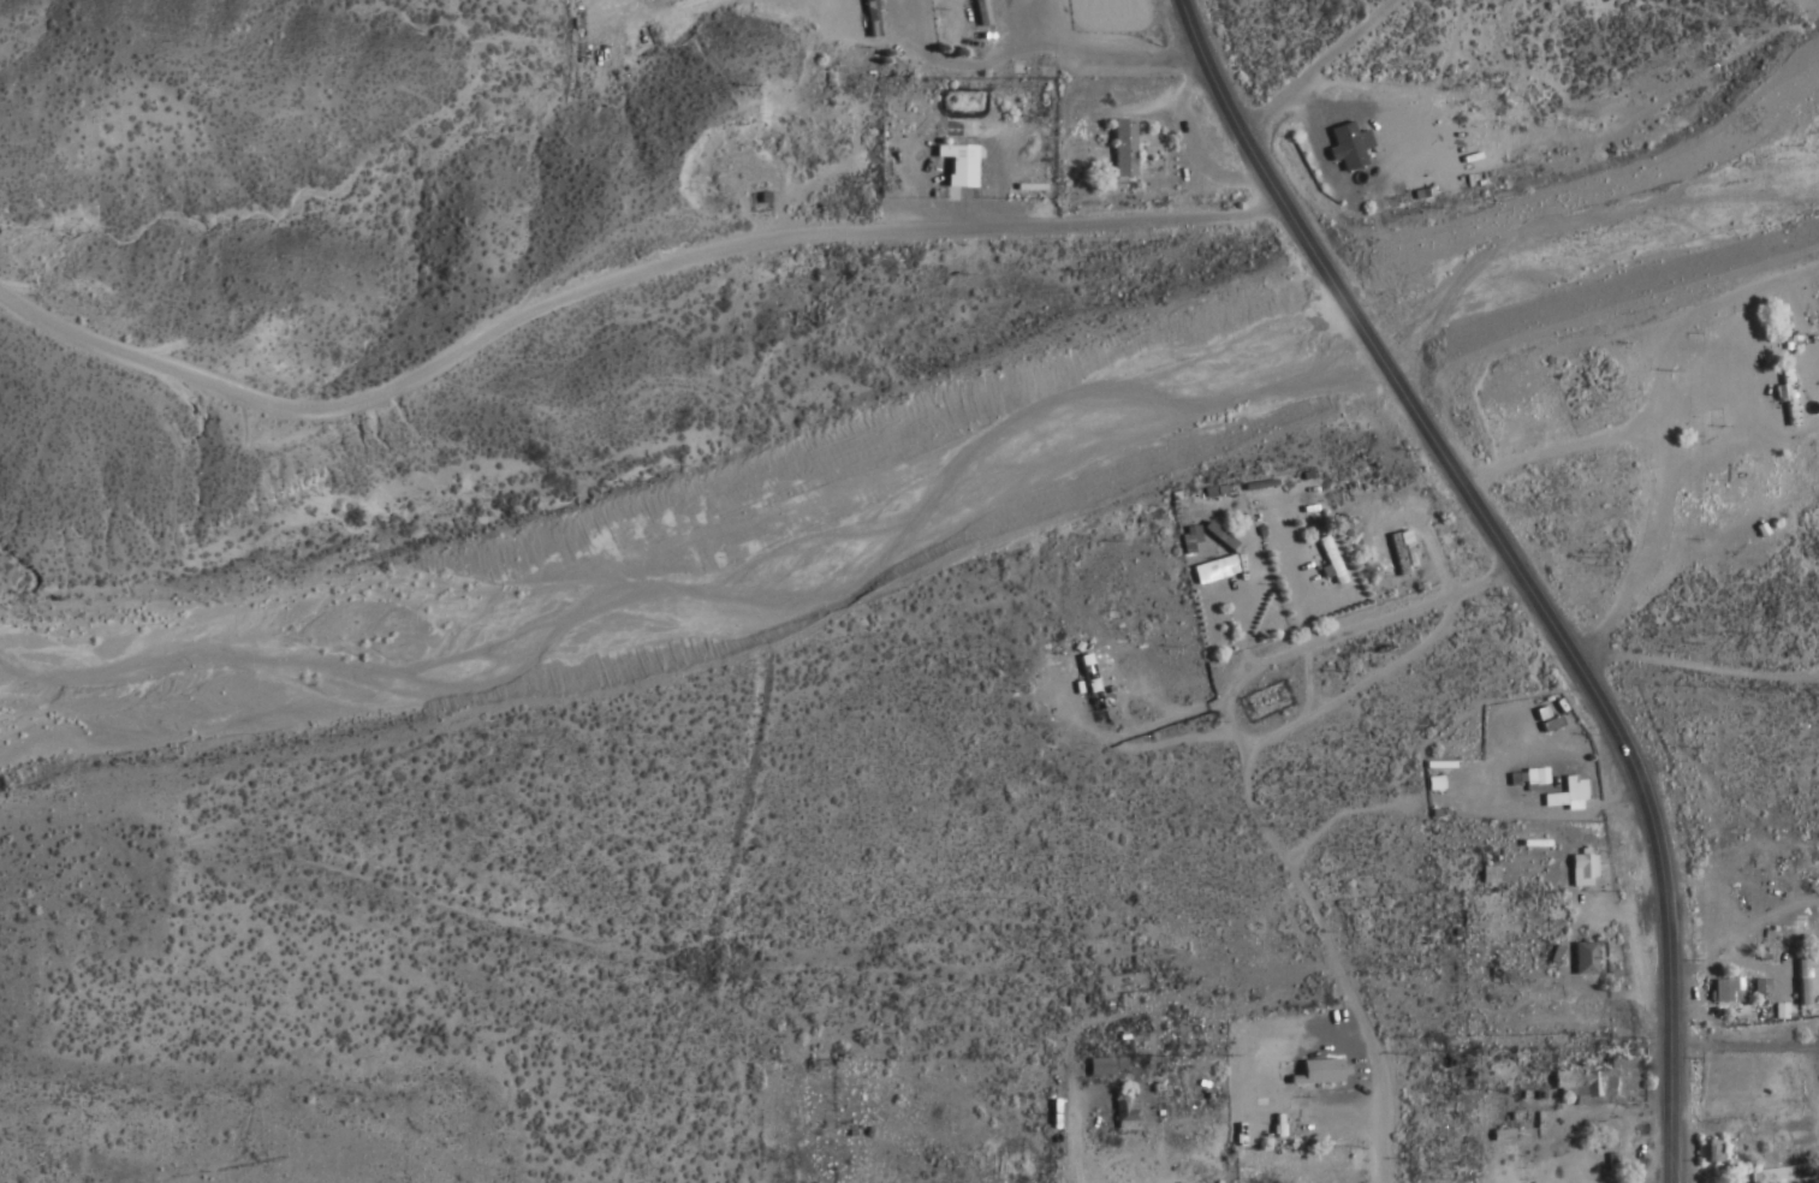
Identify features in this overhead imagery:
building: (979, 13)
building: (869, 22)
road: (1308, 67)
building: (1120, 149)
building: (955, 165)
road: (613, 278)
building: (1787, 399)
building: (1708, 501)
building: (1187, 540)
building: (1399, 553)
building: (1328, 560)
road: (1502, 564)
building: (1209, 566)
building: (1088, 684)
building: (1432, 784)
building: (1568, 793)
road: (1246, 798)
building: (1579, 872)
building: (1486, 876)
building: (1581, 961)
building: (1805, 985)
building: (1724, 992)
building: (1101, 1068)
building: (1315, 1074)
building: (1597, 1084)
building: (1123, 1112)
building: (1261, 1112)
building: (1707, 1153)
building: (1268, 1169)

